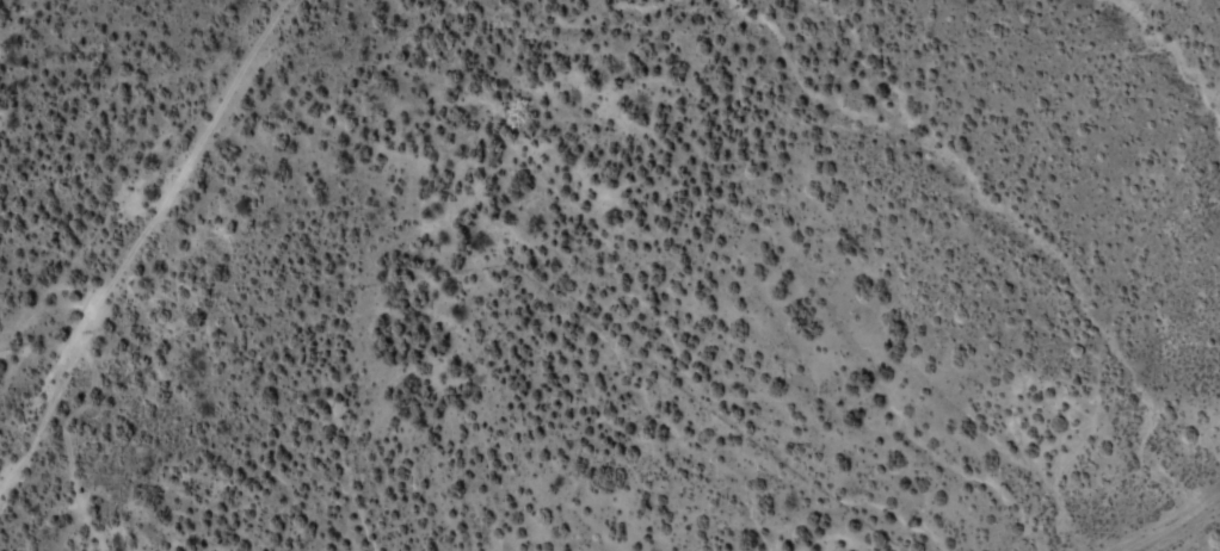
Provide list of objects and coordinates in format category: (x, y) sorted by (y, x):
road: (186, 165)

